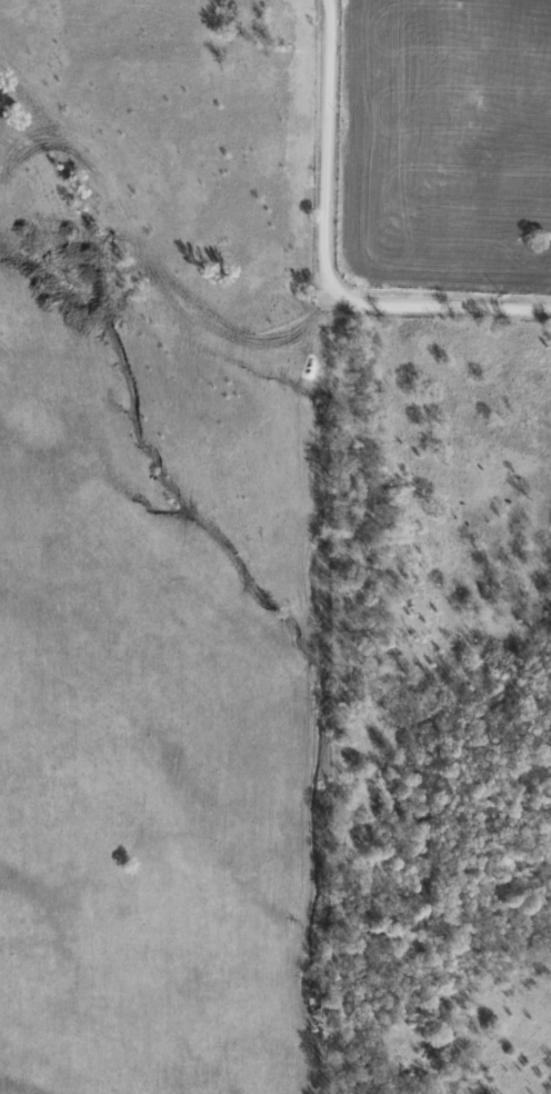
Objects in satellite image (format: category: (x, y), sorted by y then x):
road: (323, 257)

